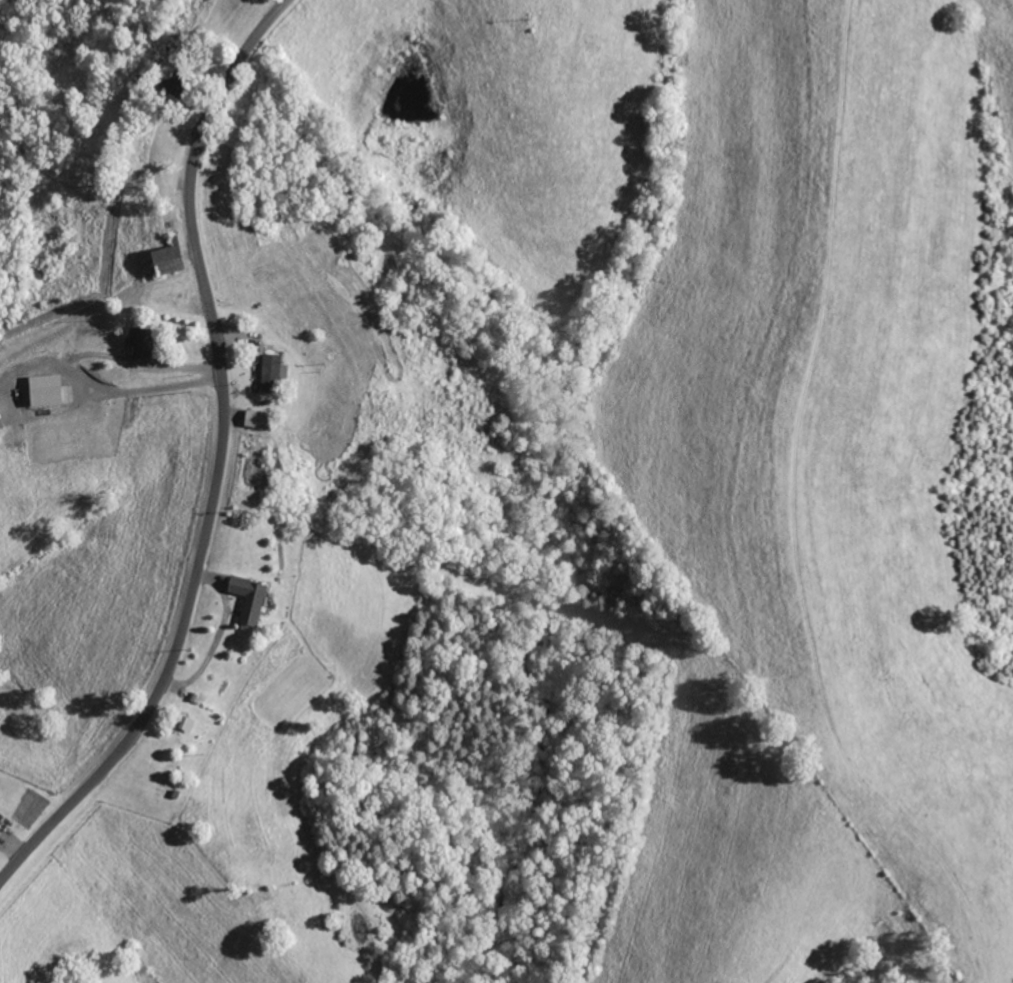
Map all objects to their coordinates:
building: (164, 260)
building: (140, 343)
building: (270, 371)
building: (45, 390)
road: (206, 447)
building: (246, 599)

